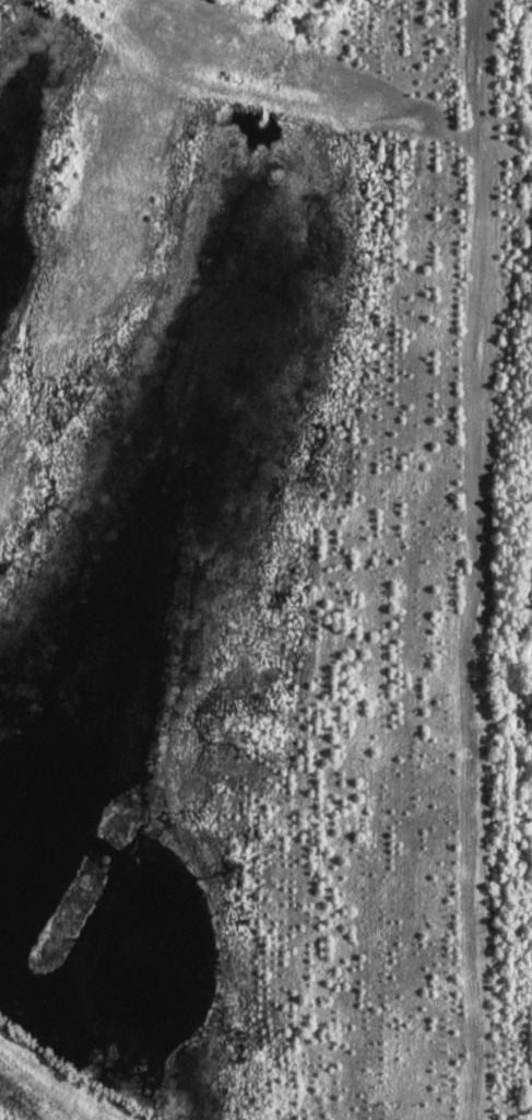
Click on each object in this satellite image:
road: (24, 1102)

